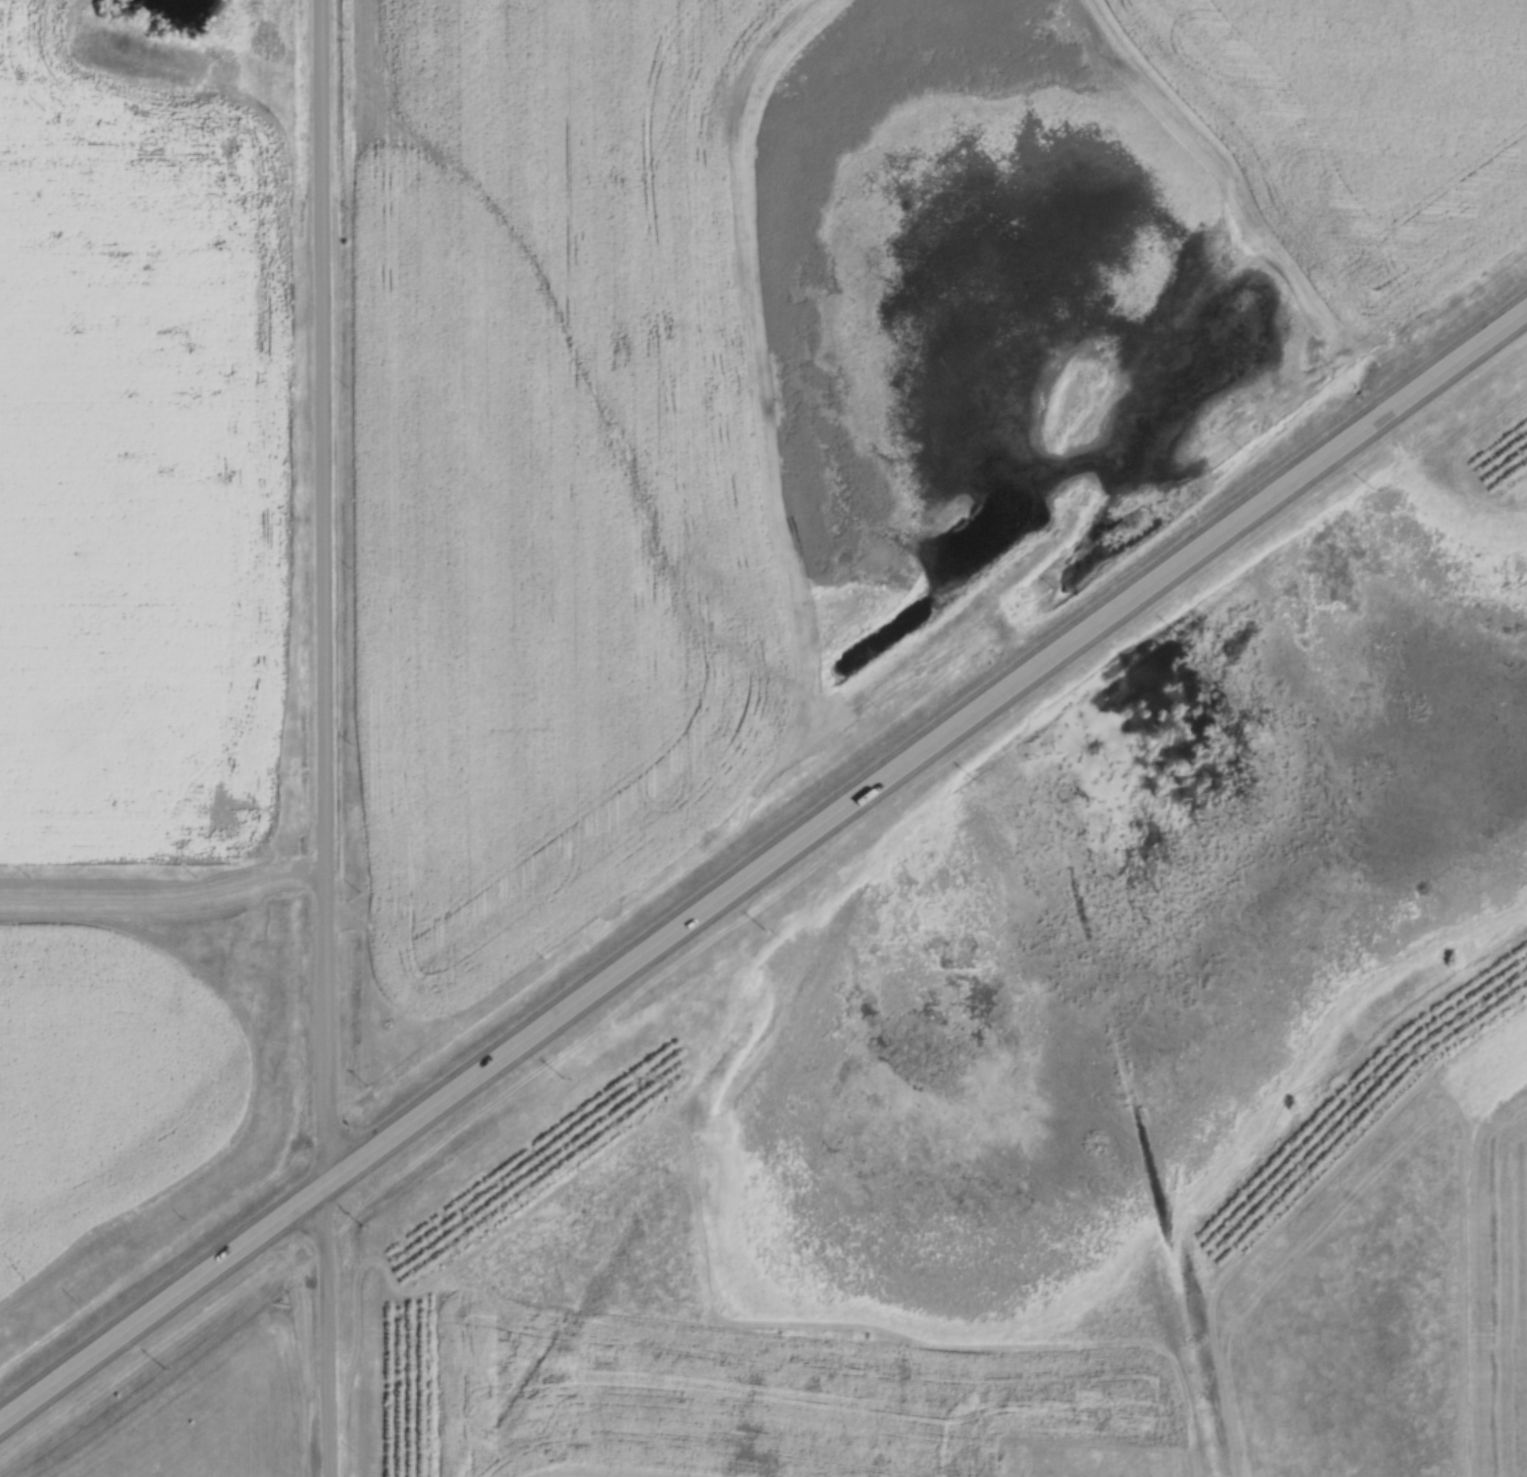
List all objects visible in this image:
road: (325, 738)
road: (763, 867)

